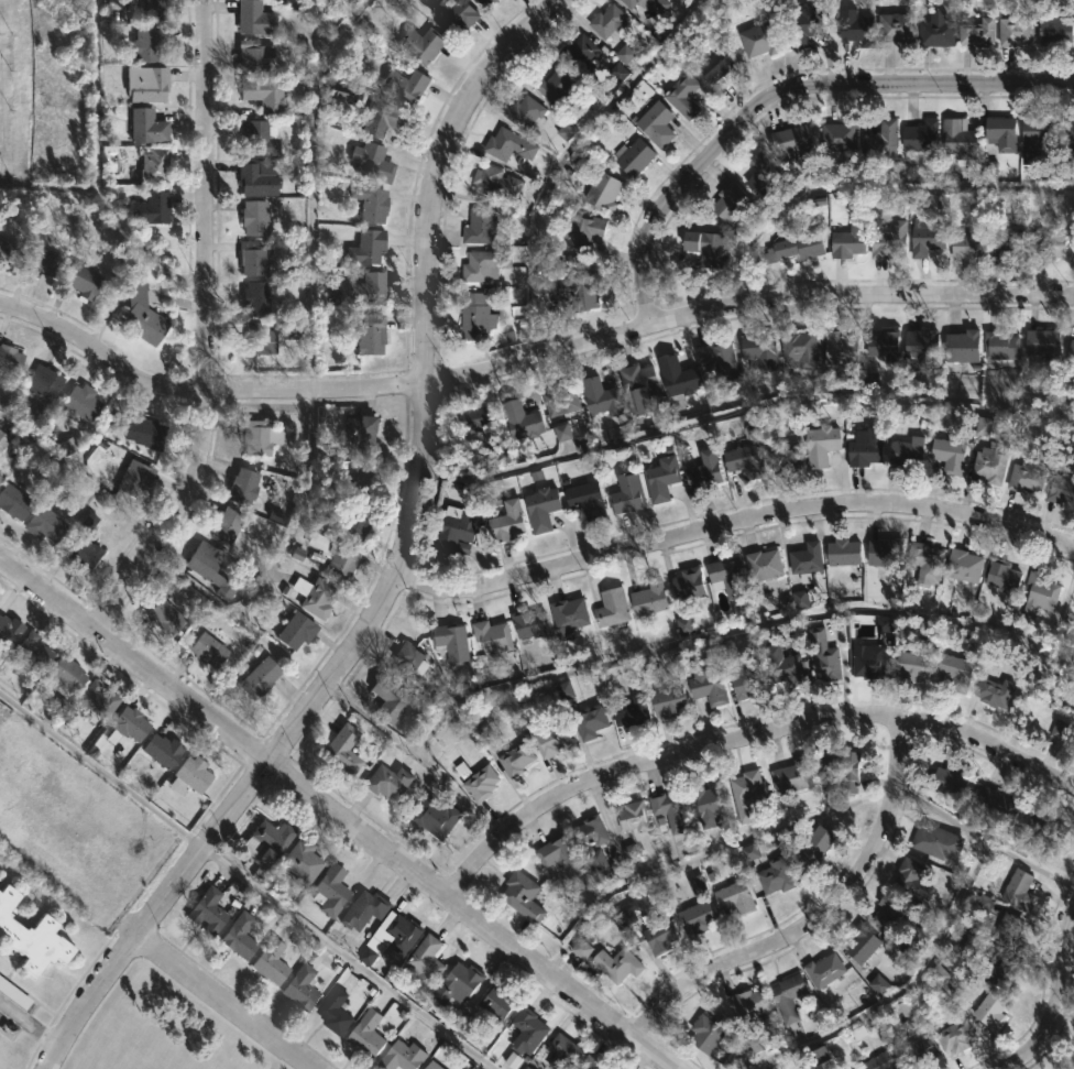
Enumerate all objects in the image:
building: (490, 3)
building: (627, 3)
building: (657, 6)
building: (155, 9)
building: (457, 15)
building: (256, 18)
building: (606, 21)
building: (802, 24)
building: (895, 26)
building: (855, 28)
building: (1053, 29)
building: (934, 30)
building: (1013, 30)
building: (975, 32)
building: (758, 39)
building: (146, 43)
building: (425, 44)
building: (577, 52)
building: (624, 54)
building: (252, 56)
building: (716, 65)
building: (617, 73)
building: (146, 83)
building: (408, 85)
building: (556, 85)
building: (344, 90)
road: (779, 90)
building: (266, 94)
building: (681, 95)
building: (524, 111)
building: (399, 118)
building: (655, 124)
building: (149, 126)
building: (1071, 129)
building: (565, 132)
building: (1000, 133)
building: (920, 137)
building: (260, 138)
building: (839, 138)
building: (880, 139)
building: (957, 139)
building: (1034, 139)
building: (790, 142)
building: (509, 144)
building: (632, 156)
building: (373, 162)
building: (155, 164)
building: (761, 176)
building: (256, 178)
building: (496, 181)
building: (596, 190)
building: (374, 203)
building: (728, 205)
building: (155, 207)
building: (255, 217)
building: (482, 226)
building: (578, 232)
building: (924, 237)
building: (847, 240)
building: (887, 240)
building: (1046, 243)
building: (1007, 244)
building: (966, 246)
building: (792, 247)
building: (370, 248)
building: (703, 248)
building: (7, 250)
building: (253, 258)
building: (39, 262)
building: (485, 264)
building: (140, 265)
building: (79, 276)
building: (374, 286)
building: (576, 288)
building: (257, 296)
building: (475, 313)
building: (143, 315)
road: (204, 330)
building: (372, 335)
building: (259, 339)
building: (883, 343)
building: (920, 343)
building: (1041, 343)
building: (960, 346)
building: (999, 346)
building: (798, 349)
building: (758, 350)
building: (840, 351)
building: (1070, 353)
building: (10, 358)
road: (527, 360)
building: (716, 360)
building: (675, 375)
building: (43, 382)
road: (424, 382)
building: (639, 386)
building: (599, 397)
building: (80, 402)
building: (559, 402)
building: (474, 418)
building: (524, 421)
building: (145, 432)
building: (561, 433)
building: (261, 437)
building: (364, 437)
building: (3, 440)
building: (820, 444)
building: (864, 447)
building: (781, 454)
building: (905, 454)
building: (945, 456)
building: (742, 461)
building: (987, 466)
building: (703, 469)
building: (659, 477)
building: (1, 478)
building: (136, 478)
building: (1023, 479)
building: (365, 480)
building: (245, 487)
building: (1060, 491)
building: (624, 494)
building: (587, 500)
building: (15, 502)
building: (545, 509)
building: (508, 522)
building: (46, 524)
building: (228, 525)
building: (355, 525)
road: (733, 525)
building: (453, 528)
building: (883, 552)
building: (85, 553)
building: (841, 553)
building: (337, 557)
building: (803, 559)
building: (922, 563)
building: (760, 564)
building: (963, 566)
building: (210, 569)
building: (1000, 576)
building: (725, 578)
building: (687, 586)
building: (1039, 590)
building: (317, 596)
building: (648, 598)
building: (799, 600)
building: (610, 608)
building: (570, 612)
building: (167, 615)
building: (531, 623)
building: (884, 624)
building: (684, 625)
building: (10, 629)
building: (297, 629)
road: (702, 637)
building: (493, 639)
building: (452, 643)
building: (35, 648)
building: (210, 648)
building: (821, 654)
road: (133, 661)
building: (868, 663)
building: (410, 665)
building: (910, 666)
building: (780, 667)
building: (954, 673)
building: (67, 674)
building: (261, 678)
building: (747, 681)
building: (706, 687)
building: (563, 690)
building: (991, 691)
building: (98, 698)
building: (393, 699)
building: (666, 702)
building: (628, 712)
building: (588, 721)
building: (129, 723)
building: (1059, 731)
road: (743, 732)
building: (484, 735)
building: (551, 735)
building: (164, 749)
building: (344, 750)
building: (520, 759)
building: (837, 767)
road: (101, 771)
building: (193, 774)
building: (789, 777)
building: (390, 781)
building: (479, 782)
building: (947, 782)
building: (744, 795)
building: (706, 805)
building: (997, 806)
building: (668, 811)
building: (437, 816)
building: (631, 817)
building: (1038, 828)
building: (933, 842)
building: (266, 847)
building: (811, 849)
building: (573, 850)
building: (629, 853)
building: (748, 853)
building: (303, 863)
building: (772, 876)
building: (910, 879)
building: (697, 885)
building: (332, 890)
building: (1017, 891)
building: (523, 895)
building: (733, 897)
building: (366, 908)
building: (208, 909)
building: (887, 910)
road: (467, 914)
building: (693, 914)
road: (152, 915)
building: (625, 915)
road: (813, 918)
building: (1008, 928)
building: (405, 932)
building: (241, 935)
building: (658, 935)
building: (31, 936)
building: (862, 945)
building: (581, 949)
road: (347, 957)
building: (272, 960)
building: (428, 961)
building: (615, 963)
building: (822, 969)
building: (994, 971)
building: (938, 974)
road: (1049, 981)
building: (460, 984)
building: (878, 985)
building: (302, 986)
building: (787, 996)
building: (752, 1002)
road: (223, 1003)
building: (496, 1003)
building: (988, 1008)
building: (332, 1011)
road: (28, 1024)
park: (160, 1033)
building: (368, 1034)
building: (704, 1034)
building: (527, 1035)
building: (954, 1036)
building: (561, 1051)
building: (917, 1051)
building: (820, 1056)
building: (403, 1057)
building: (881, 1060)
building: (587, 1062)
building: (434, 1065)
building: (528, 1066)

